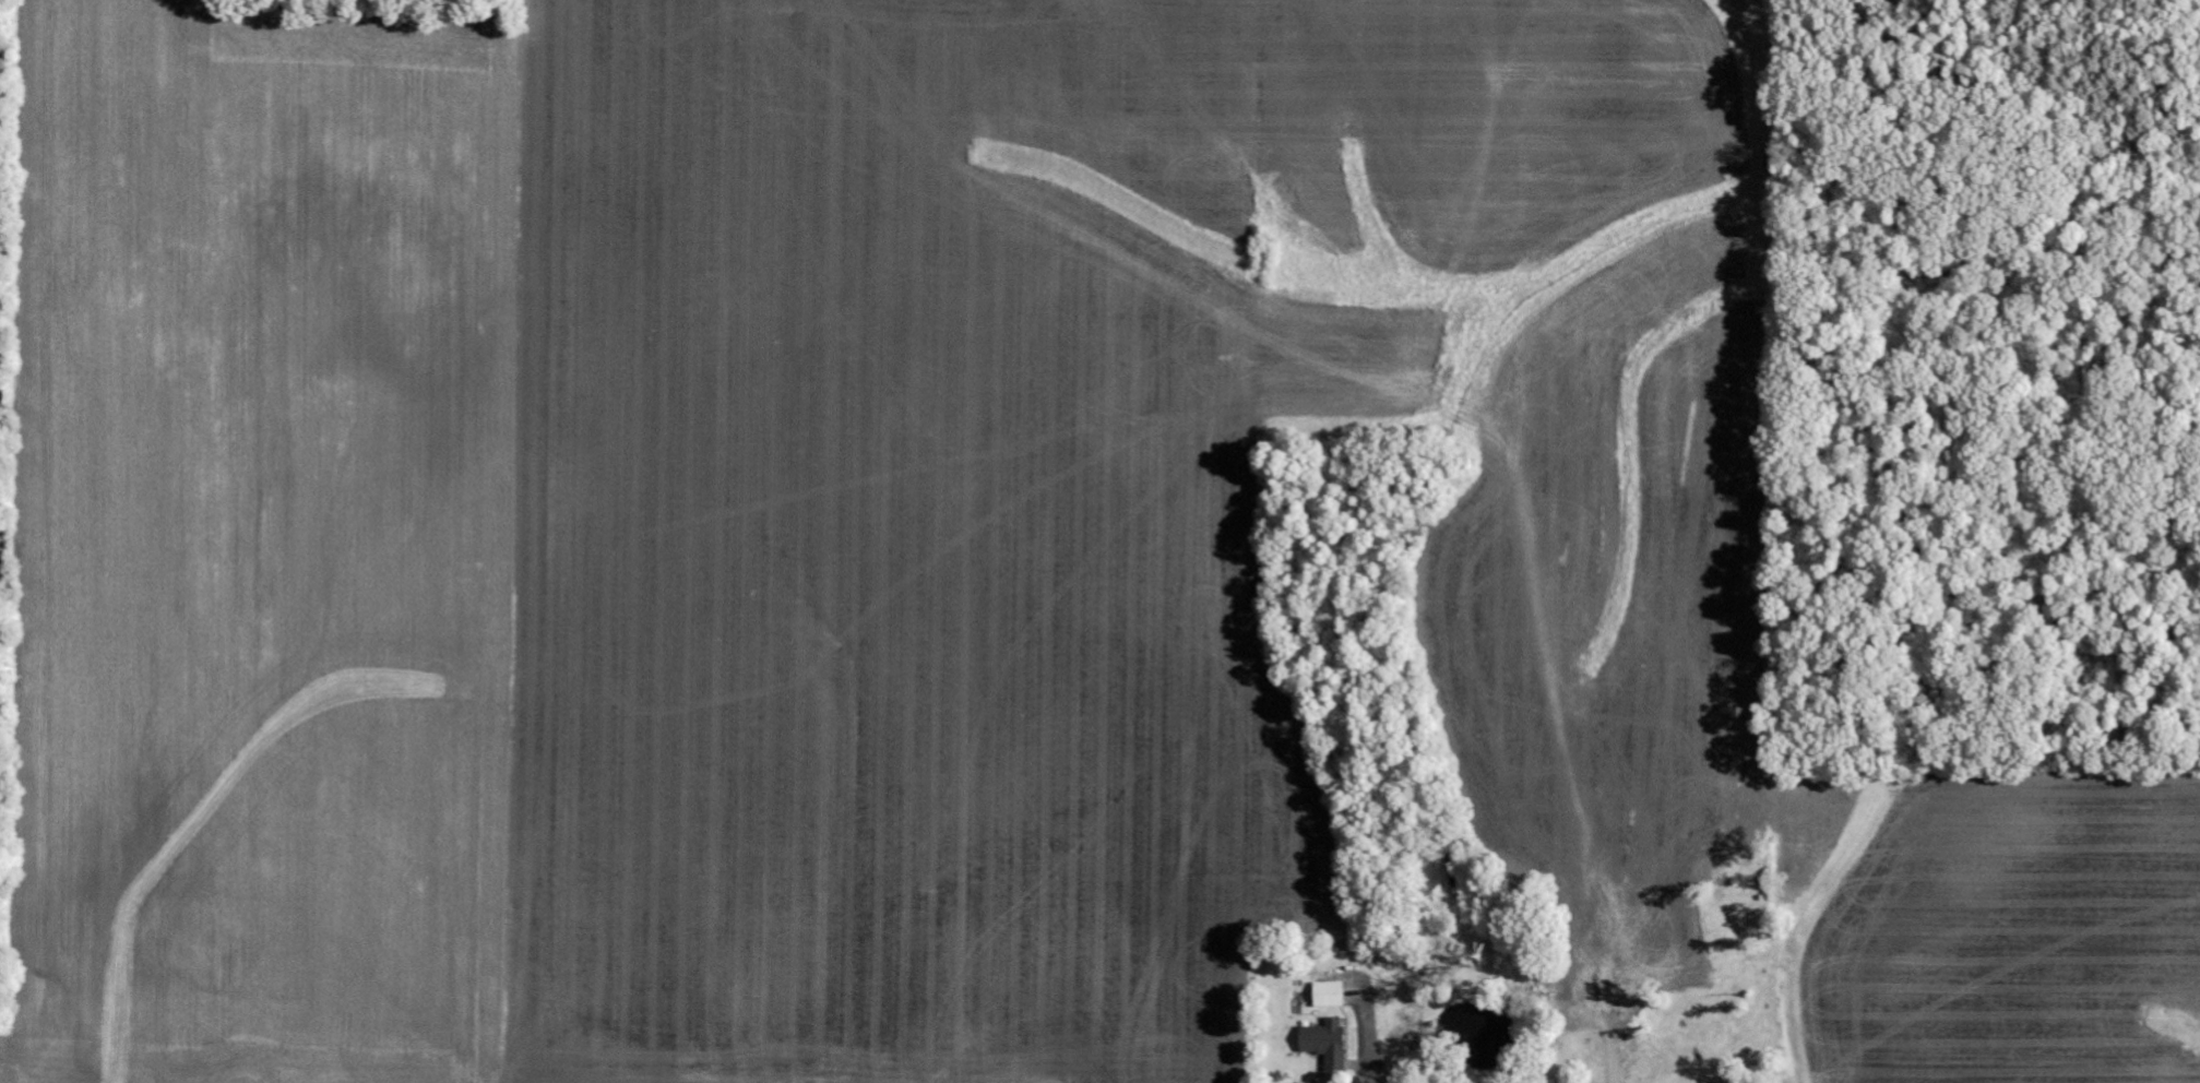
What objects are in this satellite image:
building: (1330, 995)
building: (1328, 1045)

